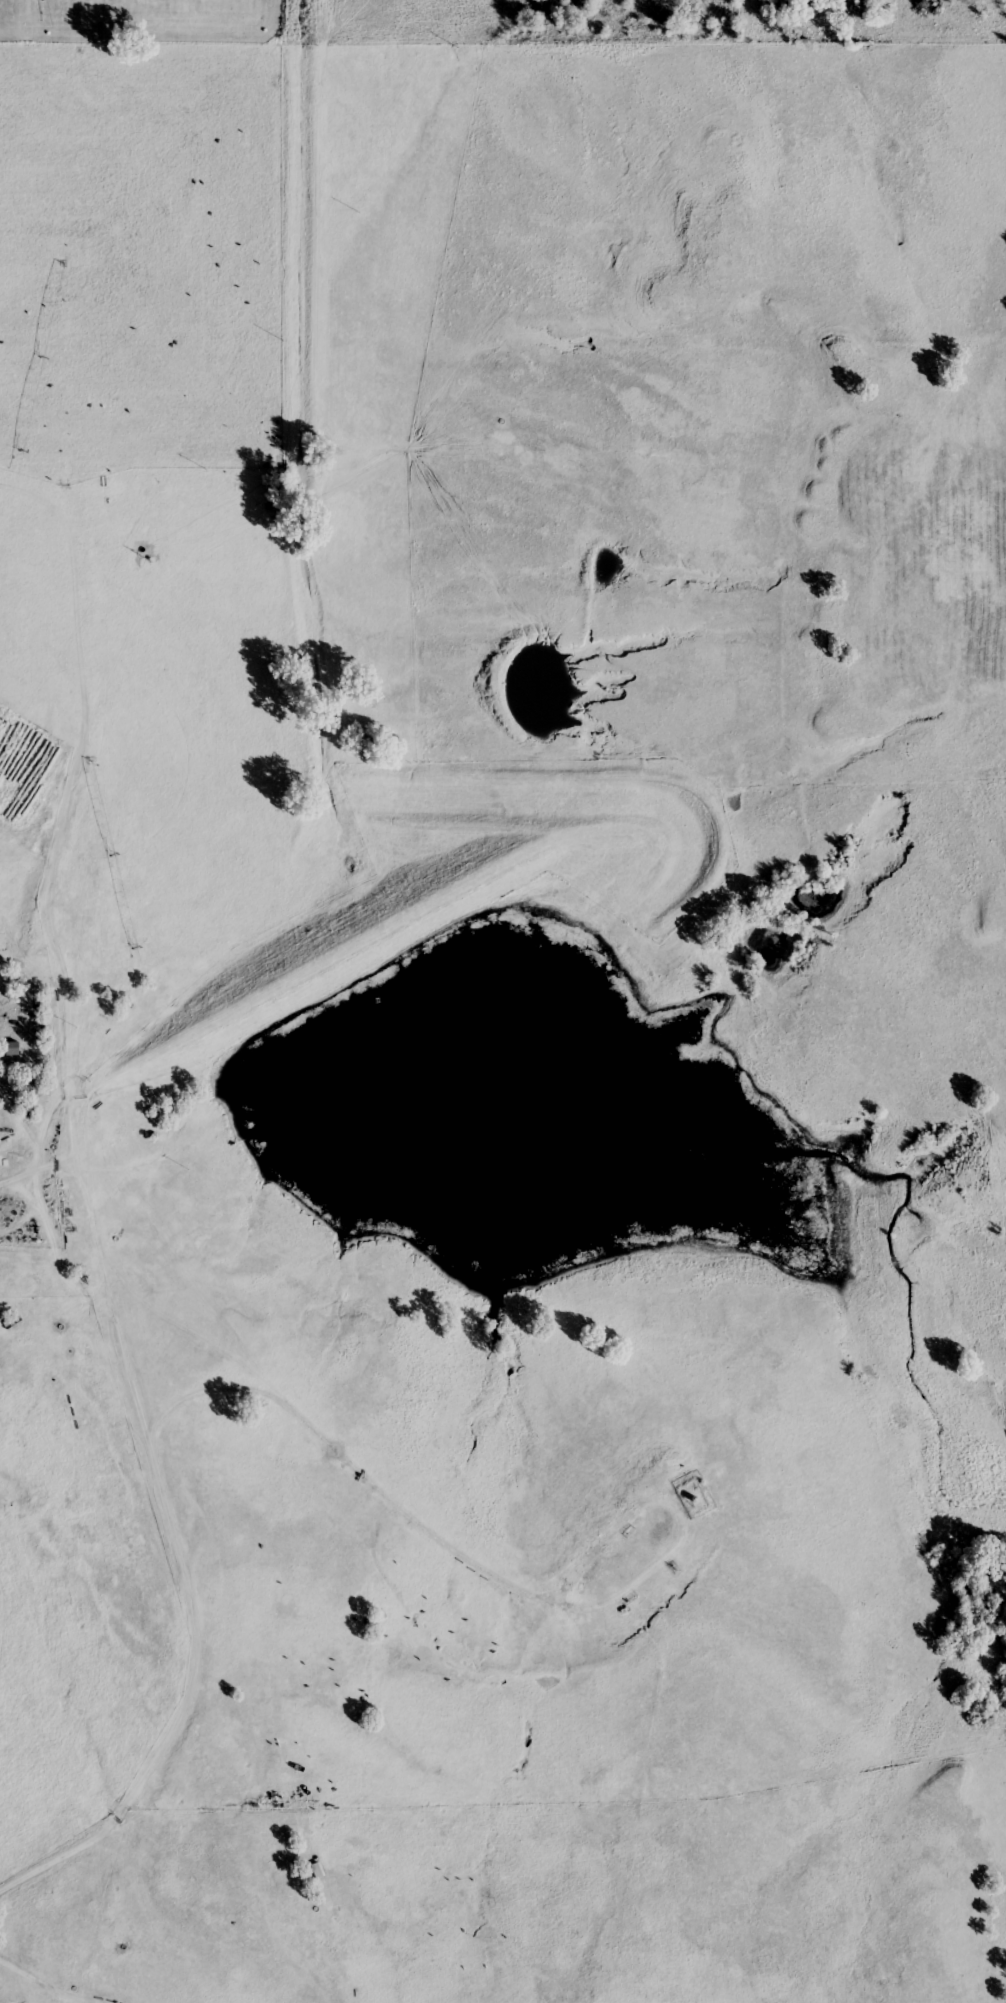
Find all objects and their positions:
building: (12, 1050)
building: (30, 1088)
road: (36, 1174)
road: (134, 1386)
road: (45, 1982)

